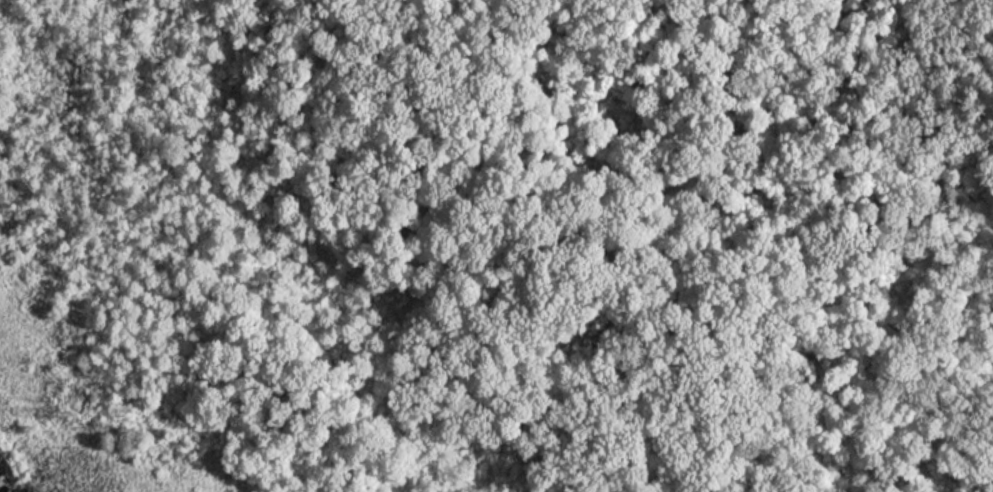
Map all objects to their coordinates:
park: (496, 246)

